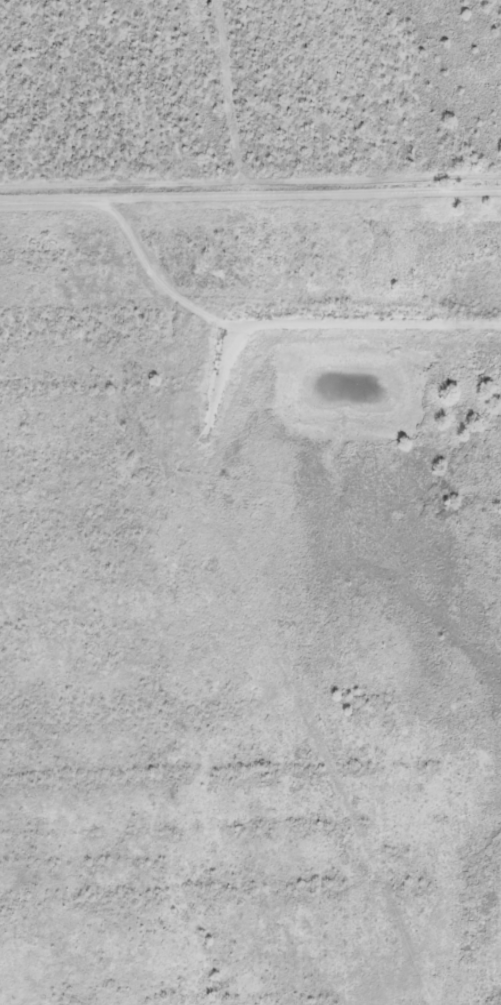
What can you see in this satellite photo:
road: (250, 201)

